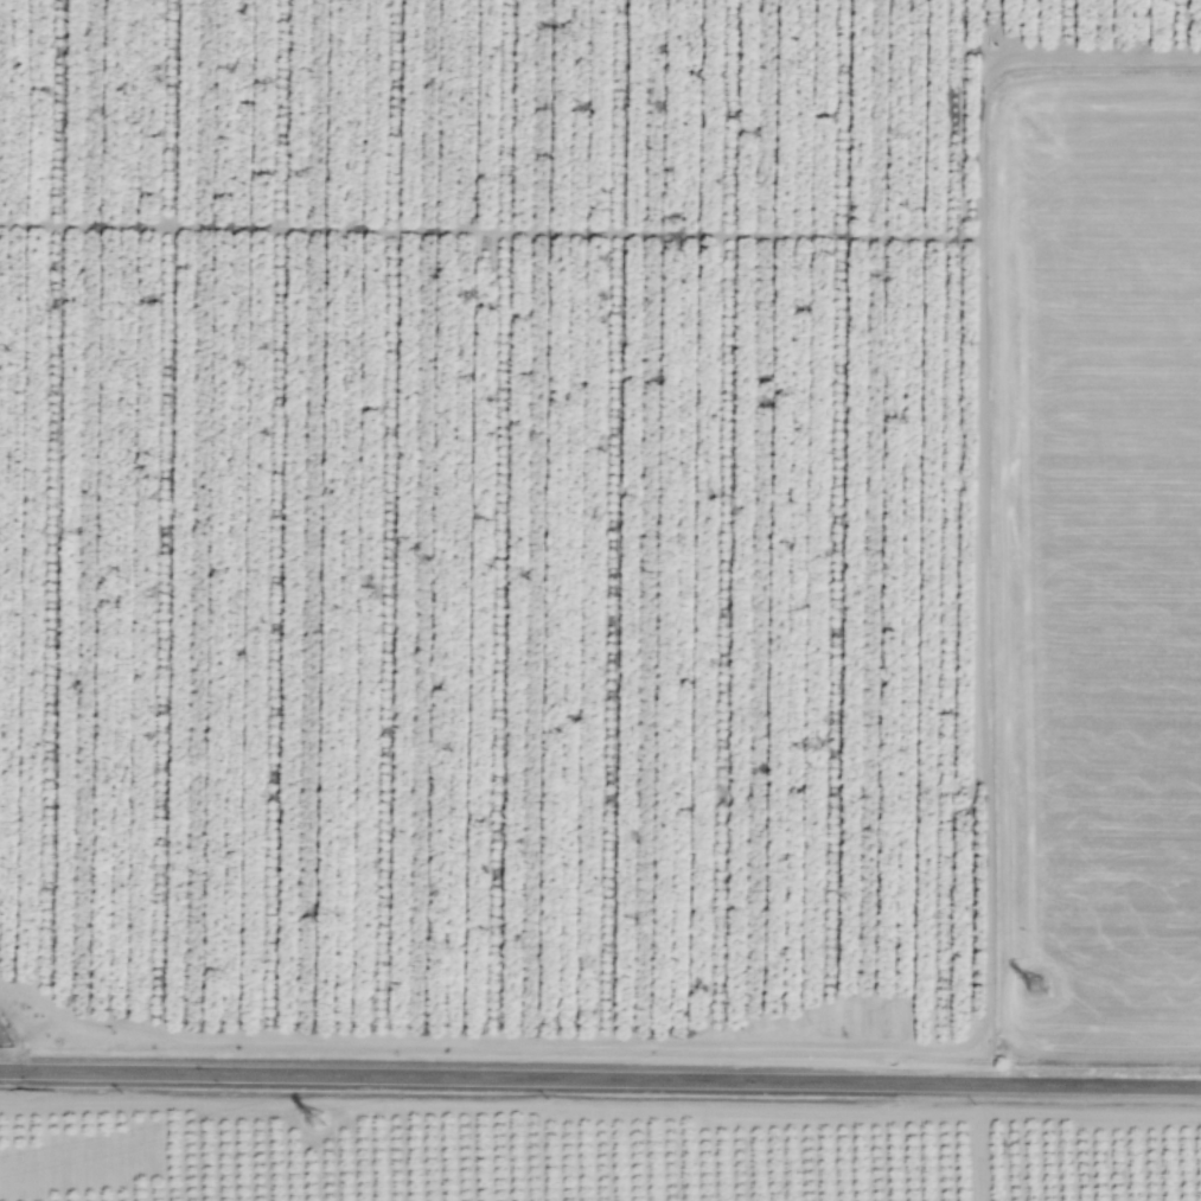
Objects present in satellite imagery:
road: (1009, 59)
road: (56, 503)
road: (167, 517)
road: (280, 518)
road: (391, 519)
road: (979, 641)
power tower: (1039, 988)
road: (14, 1035)
road: (600, 1078)
road: (600, 1111)
power tower: (325, 1122)
road: (983, 1157)

